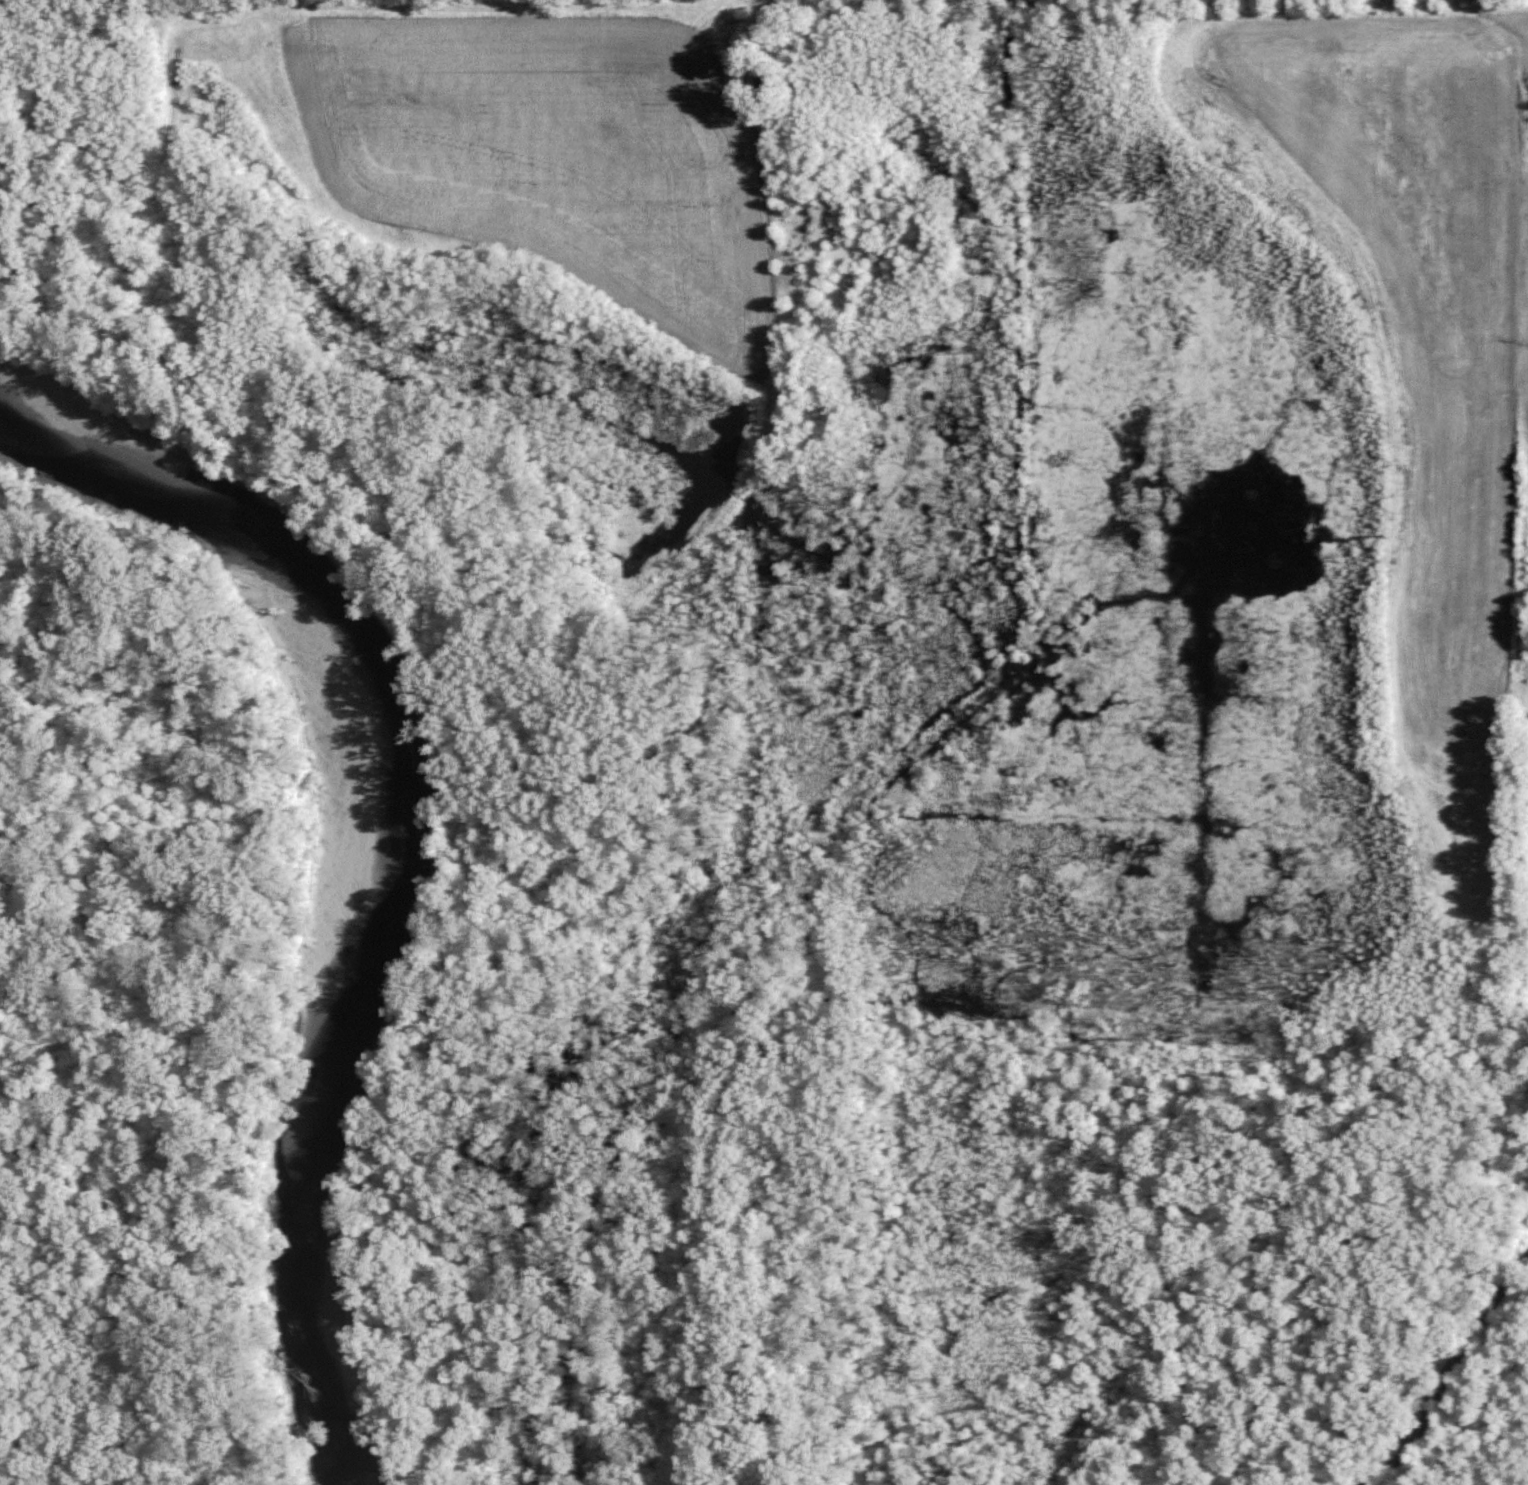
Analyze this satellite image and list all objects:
river: (396, 848)

